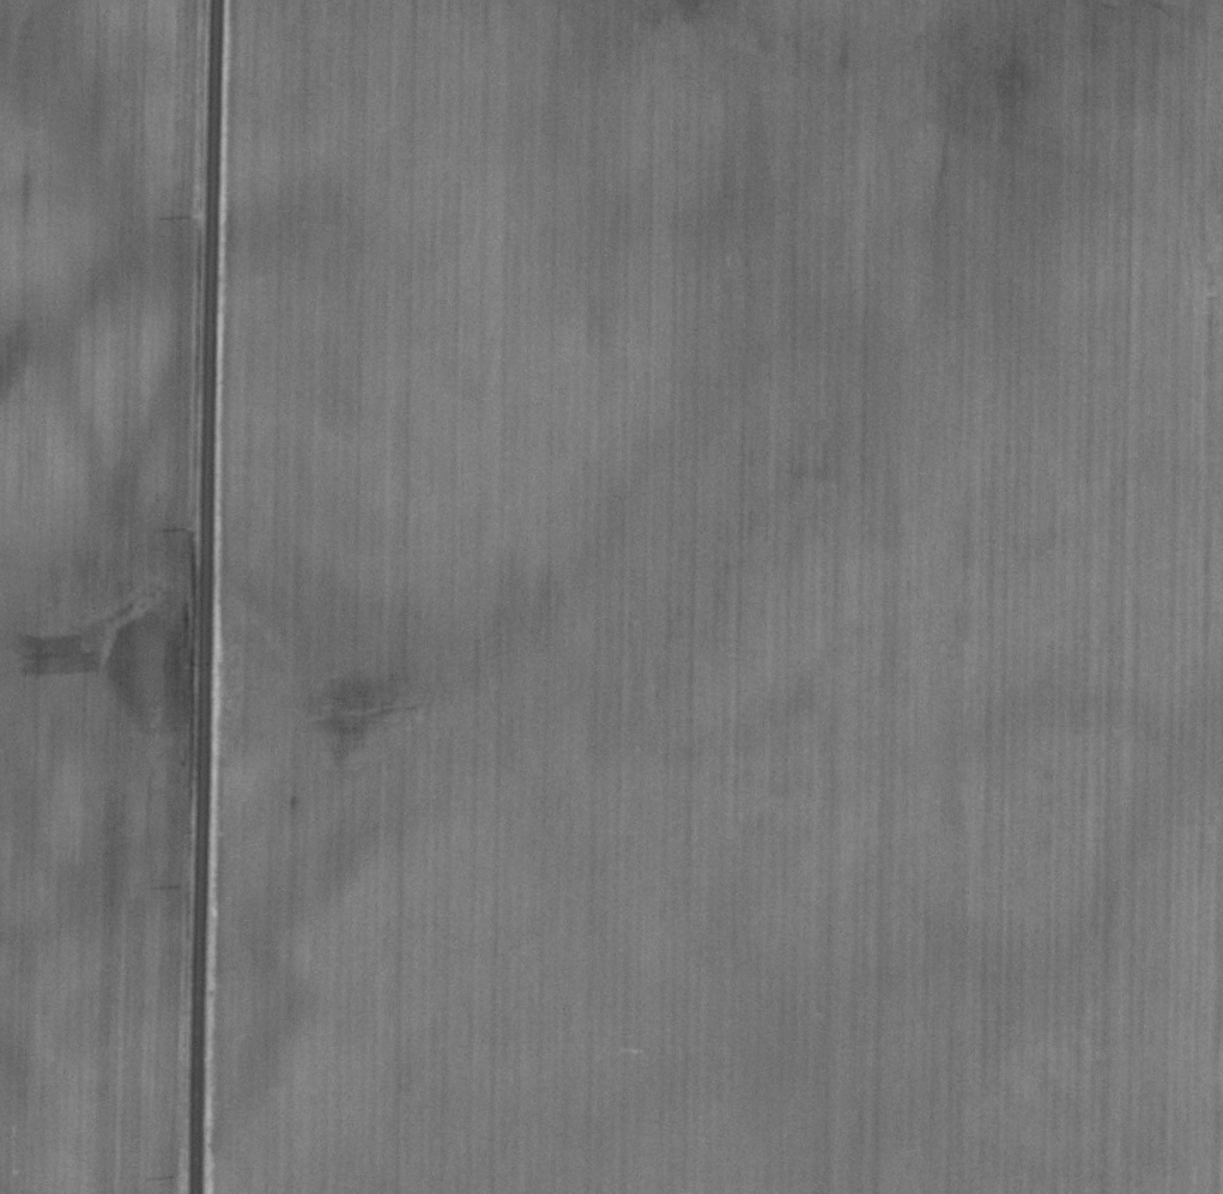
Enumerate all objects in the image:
road: (202, 596)

